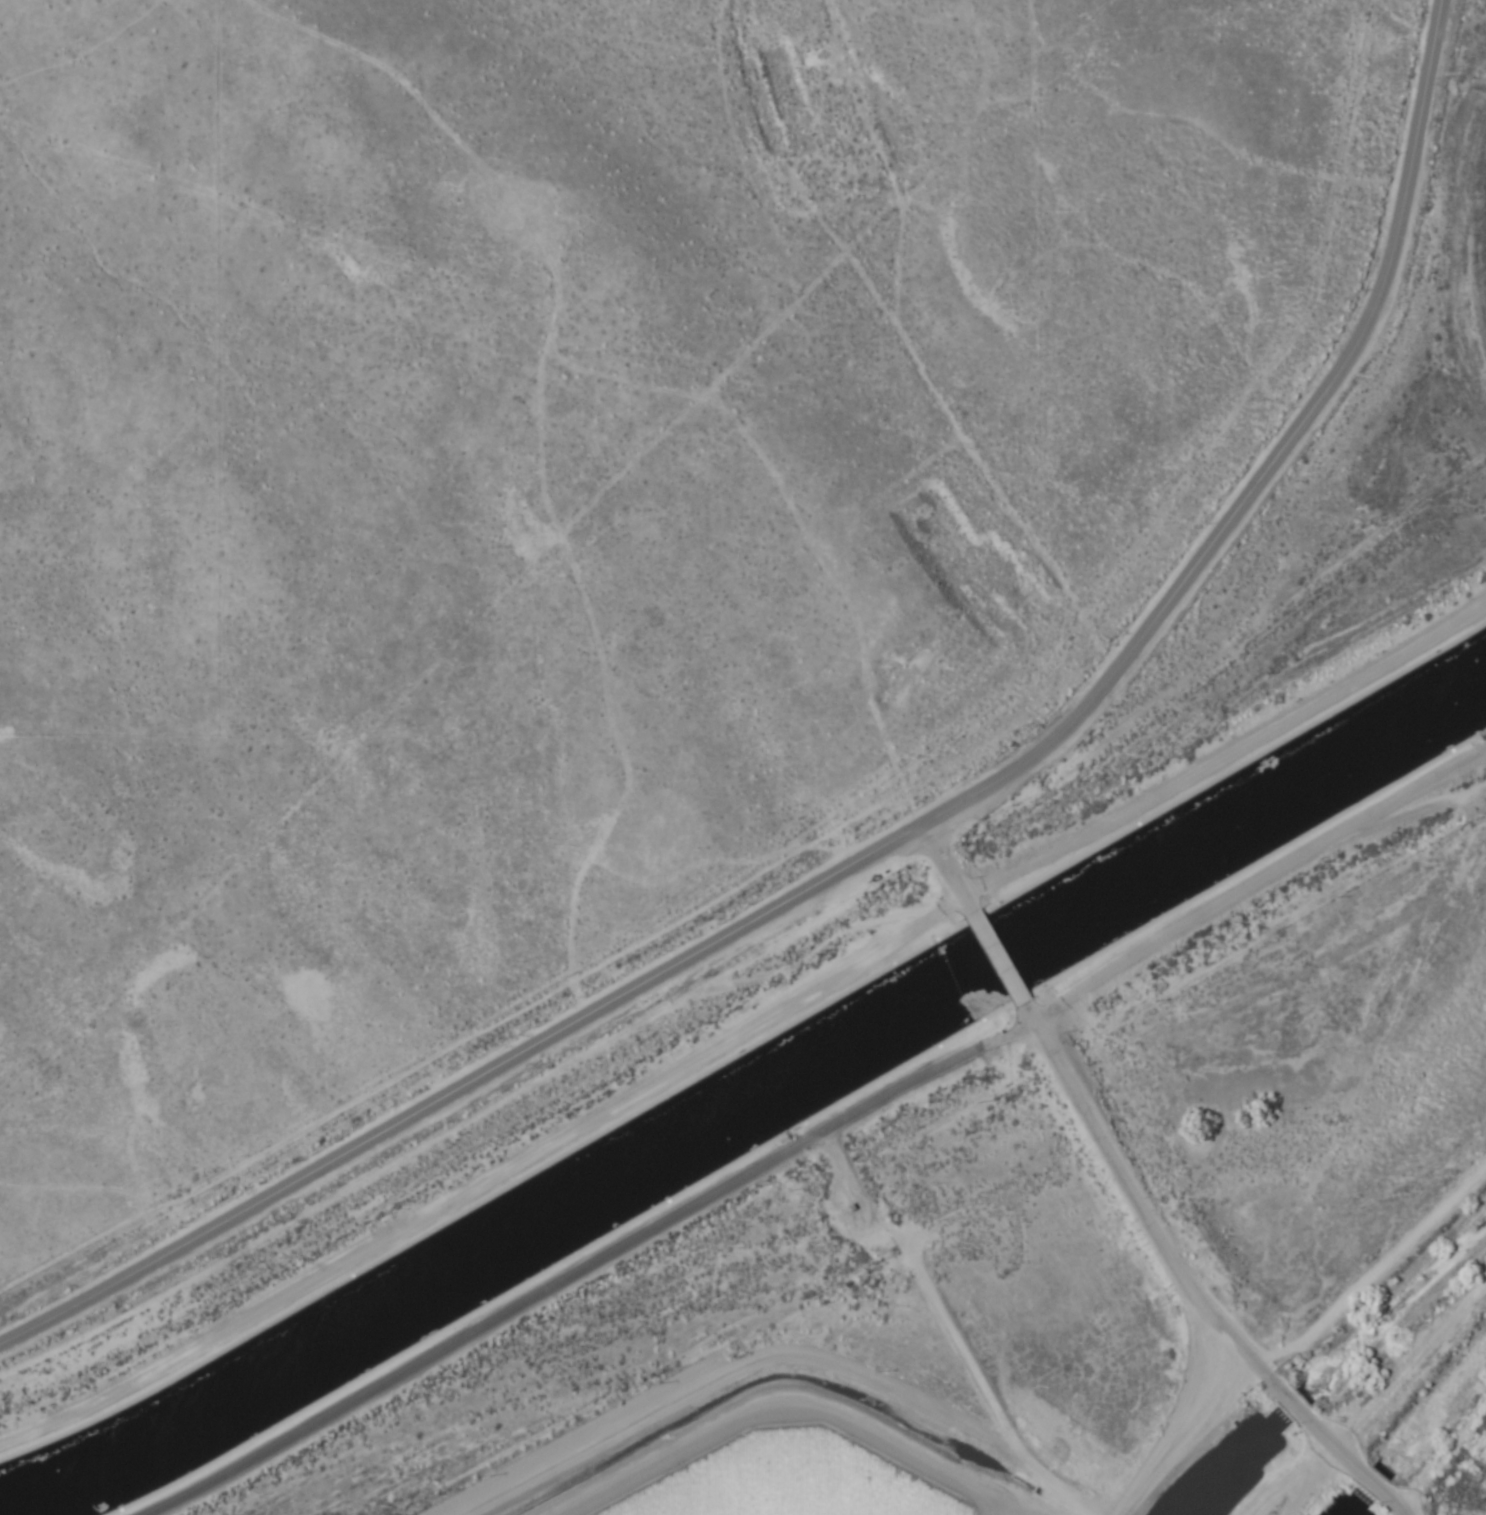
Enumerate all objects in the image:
crop: (568, 481)
road: (901, 835)
road: (948, 867)
road: (1231, 895)
road: (997, 957)
road: (748, 1029)
road: (1141, 1207)
road: (559, 1280)
road: (1314, 1425)
road: (1178, 1426)
crop: (759, 1443)
road: (1354, 1465)
road: (1382, 1494)

